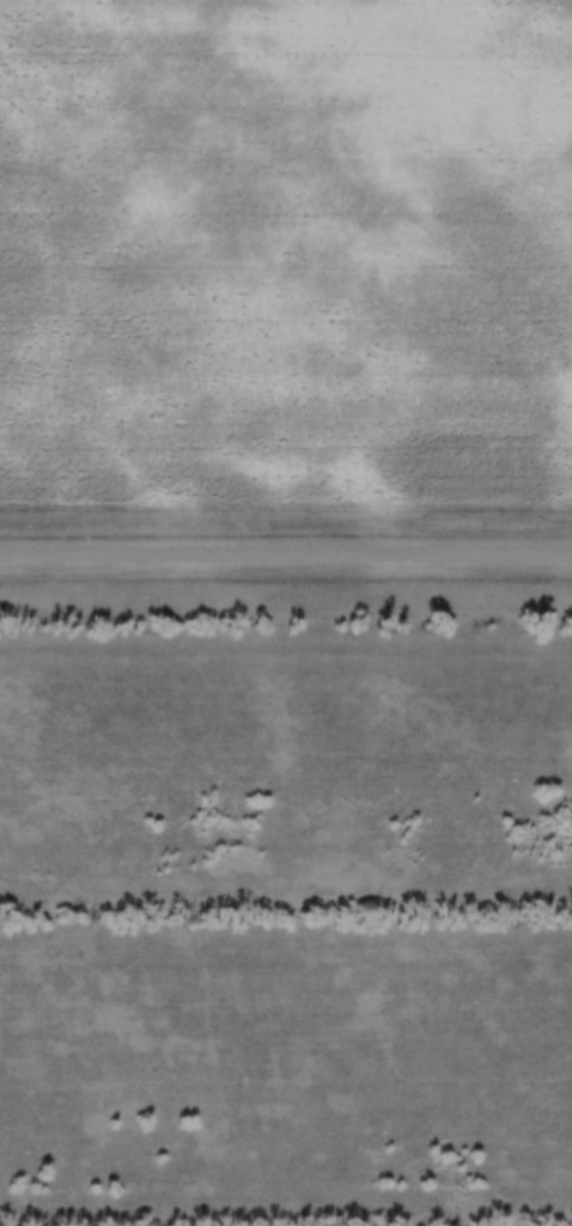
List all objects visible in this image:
road: (286, 556)

